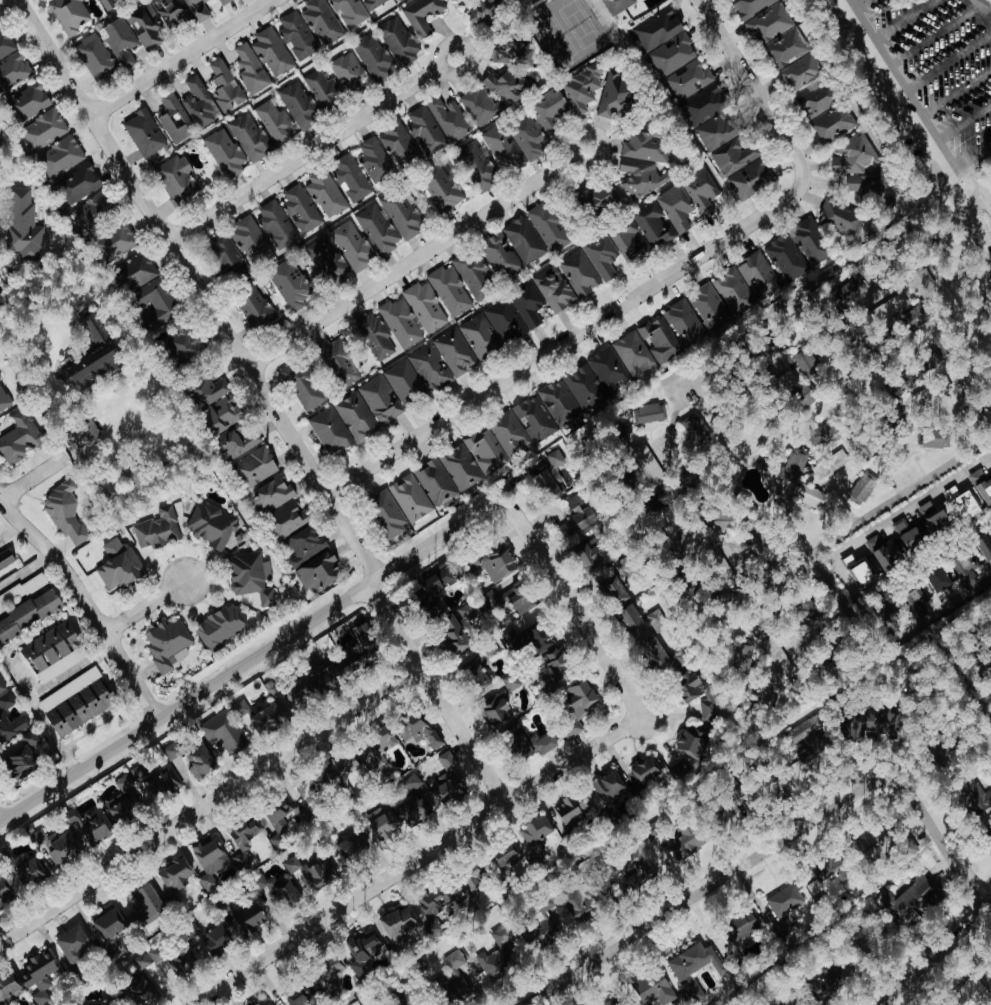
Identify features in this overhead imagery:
building: (224, 2)
building: (108, 3)
building: (617, 5)
road: (857, 5)
building: (751, 6)
building: (198, 9)
building: (168, 10)
building: (486, 12)
building: (69, 14)
building: (422, 14)
road: (979, 18)
building: (322, 22)
road: (904, 22)
building: (770, 23)
building: (145, 27)
building: (657, 28)
building: (296, 36)
road: (930, 39)
building: (397, 40)
building: (120, 42)
building: (5, 44)
building: (787, 48)
building: (271, 52)
building: (511, 53)
building: (672, 55)
building: (96, 57)
building: (372, 57)
road: (182, 58)
road: (946, 65)
building: (249, 67)
park: (948, 70)
building: (13, 71)
building: (801, 71)
building: (347, 73)
building: (688, 80)
building: (224, 86)
building: (505, 86)
building: (322, 89)
building: (581, 89)
building: (617, 93)
road: (955, 96)
building: (818, 100)
building: (31, 101)
building: (199, 103)
building: (297, 103)
building: (704, 104)
building: (480, 107)
building: (548, 110)
road: (779, 113)
building: (173, 119)
building: (448, 119)
road: (918, 119)
building: (275, 123)
building: (833, 123)
road: (962, 124)
building: (44, 129)
building: (424, 130)
building: (716, 132)
building: (144, 133)
building: (249, 137)
building: (526, 138)
building: (398, 146)
building: (501, 147)
road: (312, 150)
building: (224, 153)
building: (734, 156)
building: (852, 156)
building: (60, 157)
road: (971, 157)
building: (374, 160)
building: (643, 162)
building: (477, 166)
building: (178, 179)
building: (350, 179)
building: (750, 179)
building: (79, 183)
building: (867, 186)
building: (442, 193)
building: (325, 194)
building: (604, 196)
building: (687, 200)
building: (300, 208)
building: (93, 211)
building: (403, 214)
building: (841, 219)
building: (24, 224)
building: (276, 224)
building: (652, 226)
building: (548, 227)
building: (377, 230)
building: (250, 240)
building: (523, 240)
building: (811, 242)
building: (116, 243)
building: (628, 245)
building: (351, 246)
building: (226, 251)
building: (500, 256)
road: (415, 258)
building: (601, 258)
building: (786, 258)
building: (325, 259)
building: (138, 270)
building: (578, 274)
building: (474, 276)
building: (759, 276)
road: (814, 280)
building: (924, 283)
building: (292, 286)
road: (198, 289)
building: (553, 290)
building: (449, 291)
building: (734, 291)
building: (852, 292)
building: (157, 303)
building: (527, 306)
building: (424, 307)
building: (710, 307)
building: (892, 307)
building: (255, 309)
building: (504, 320)
building: (684, 323)
building: (95, 329)
building: (479, 336)
building: (375, 337)
building: (659, 340)
building: (187, 341)
building: (453, 352)
building: (633, 354)
road: (547, 357)
building: (340, 361)
building: (806, 365)
building: (92, 366)
building: (416, 375)
building: (0, 379)
building: (596, 379)
building: (303, 385)
building: (209, 391)
building: (926, 396)
building: (4, 400)
building: (380, 400)
building: (559, 403)
building: (224, 413)
building: (645, 414)
building: (356, 416)
building: (535, 420)
road: (672, 424)
road: (954, 428)
building: (696, 430)
building: (330, 431)
building: (827, 433)
building: (509, 434)
building: (20, 439)
building: (933, 439)
building: (81, 440)
building: (236, 444)
building: (485, 451)
building: (838, 459)
building: (647, 463)
building: (795, 465)
building: (256, 466)
building: (461, 467)
building: (550, 473)
building: (689, 475)
road: (33, 477)
building: (436, 482)
building: (982, 486)
building: (862, 488)
building: (272, 494)
road: (903, 494)
building: (814, 497)
building: (411, 498)
building: (663, 500)
road: (844, 502)
road: (913, 503)
building: (964, 504)
building: (65, 512)
building: (388, 512)
building: (578, 517)
building: (288, 518)
building: (936, 518)
building: (212, 525)
building: (158, 529)
building: (757, 534)
building: (909, 534)
road: (260, 541)
building: (306, 545)
building: (985, 546)
building: (886, 553)
building: (595, 557)
road: (928, 557)
building: (6, 559)
road: (775, 562)
building: (498, 564)
building: (118, 565)
road: (24, 570)
building: (858, 571)
building: (965, 571)
building: (318, 572)
building: (251, 577)
building: (441, 581)
building: (940, 582)
building: (612, 589)
building: (494, 598)
building: (523, 598)
building: (914, 603)
road: (87, 607)
road: (944, 607)
road: (147, 608)
road: (573, 610)
building: (30, 613)
building: (644, 624)
building: (220, 627)
building: (459, 628)
building: (541, 636)
building: (515, 639)
building: (169, 645)
building: (361, 646)
building: (54, 652)
building: (662, 655)
building: (742, 655)
building: (777, 656)
road: (250, 662)
building: (558, 671)
building: (479, 672)
building: (329, 673)
building: (299, 693)
road: (434, 694)
road: (35, 695)
building: (699, 695)
building: (76, 702)
building: (501, 704)
building: (579, 705)
building: (267, 719)
building: (10, 721)
building: (888, 724)
building: (224, 732)
building: (421, 732)
building: (809, 738)
building: (528, 743)
building: (379, 748)
building: (171, 751)
building: (690, 751)
building: (24, 756)
building: (201, 762)
building: (342, 768)
building: (646, 771)
building: (139, 773)
building: (450, 781)
building: (164, 783)
building: (413, 783)
building: (609, 788)
building: (311, 794)
building: (125, 801)
road: (210, 807)
building: (571, 809)
building: (415, 810)
building: (278, 823)
building: (385, 825)
building: (92, 826)
building: (536, 833)
building: (988, 835)
building: (686, 842)
road: (943, 845)
building: (58, 846)
building: (241, 847)
building: (351, 847)
road: (417, 858)
building: (506, 858)
building: (209, 862)
building: (634, 871)
building: (312, 873)
building: (31, 874)
building: (176, 878)
building: (473, 883)
road: (708, 887)
building: (5, 892)
building: (285, 894)
building: (435, 901)
building: (915, 902)
building: (583, 904)
building: (784, 904)
building: (145, 908)
building: (252, 918)
building: (110, 924)
building: (400, 927)
building: (741, 930)
building: (542, 932)
building: (214, 940)
building: (74, 945)
building: (156, 954)
building: (365, 954)
building: (498, 956)
road: (936, 957)
building: (139, 963)
building: (183, 964)
building: (693, 968)
building: (331, 970)
building: (39, 976)
building: (453, 978)
building: (831, 983)
building: (9, 989)
building: (656, 989)
building: (142, 992)
building: (972, 992)
building: (300, 996)
building: (792, 1001)
building: (111, 1002)
building: (612, 1002)
building: (89, 1003)
building: (263, 1003)

